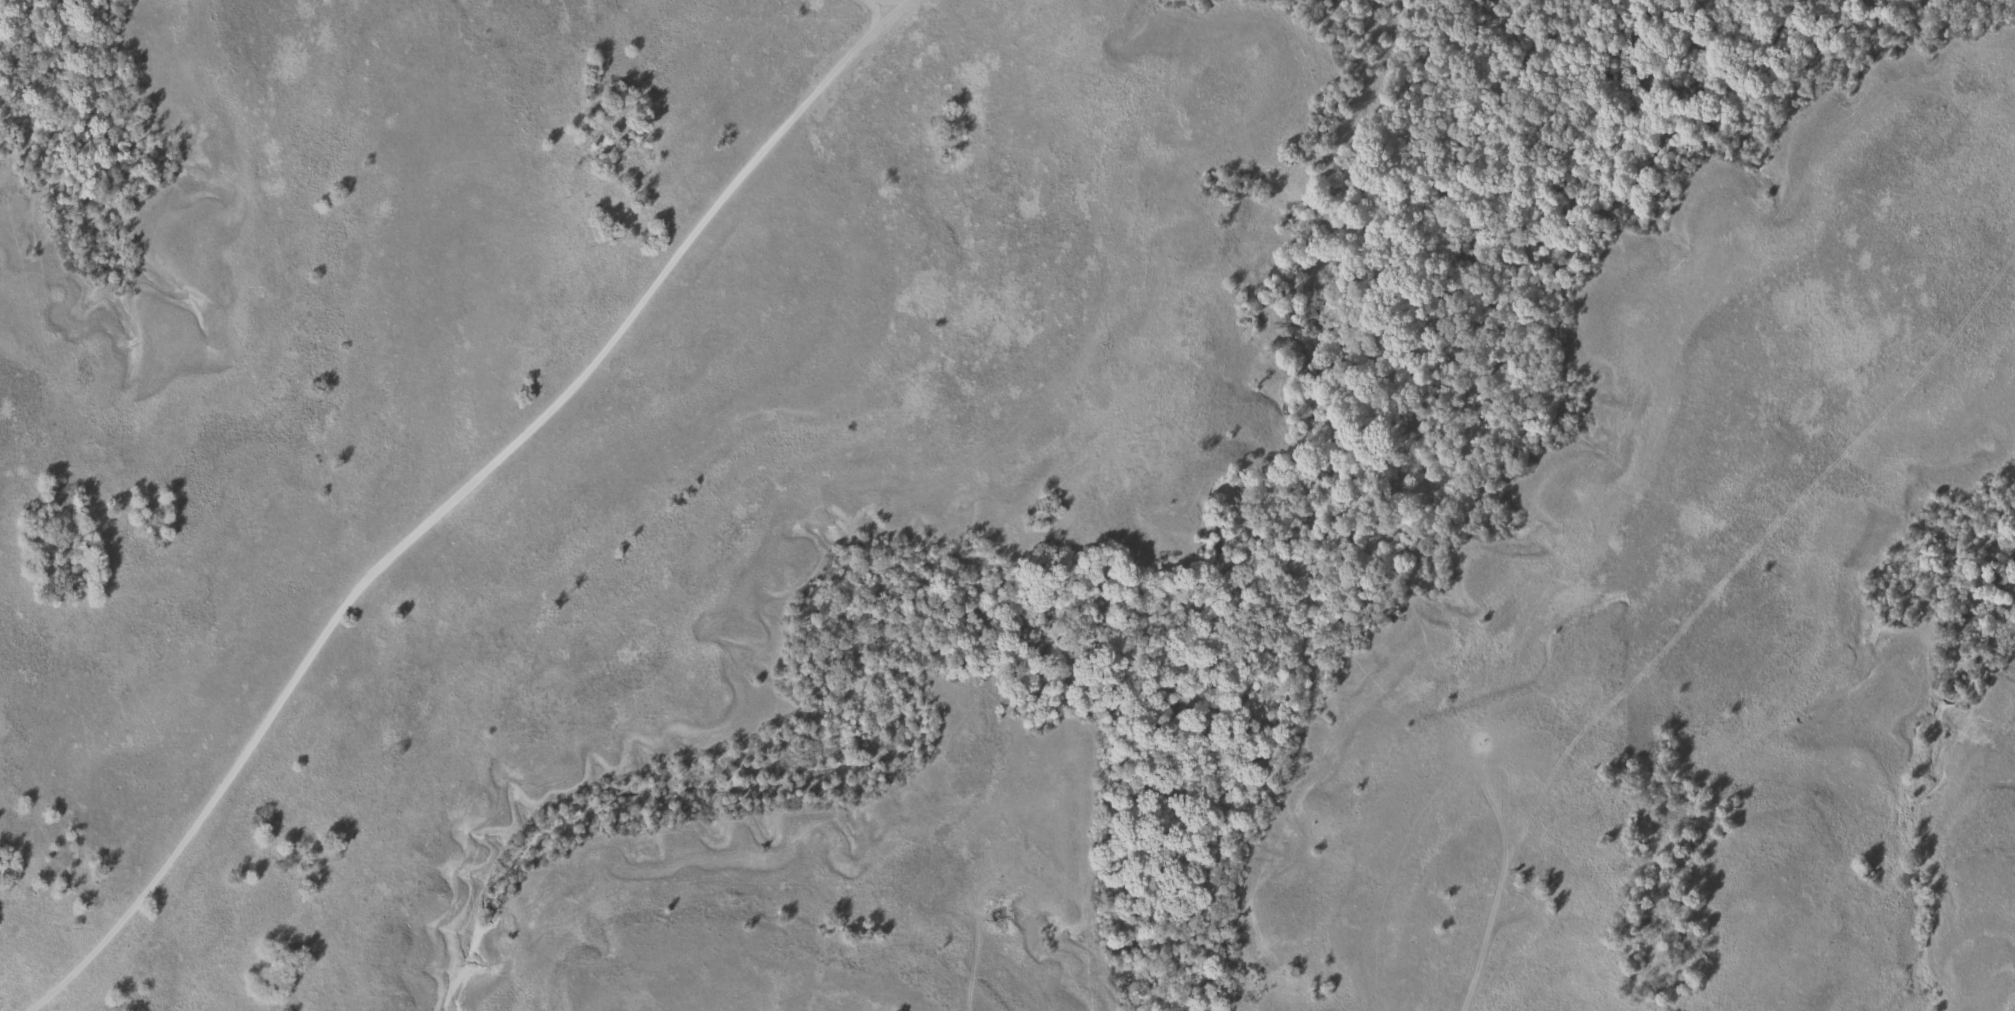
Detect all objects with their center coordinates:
road: (823, 80)
road: (542, 407)
road: (189, 836)

